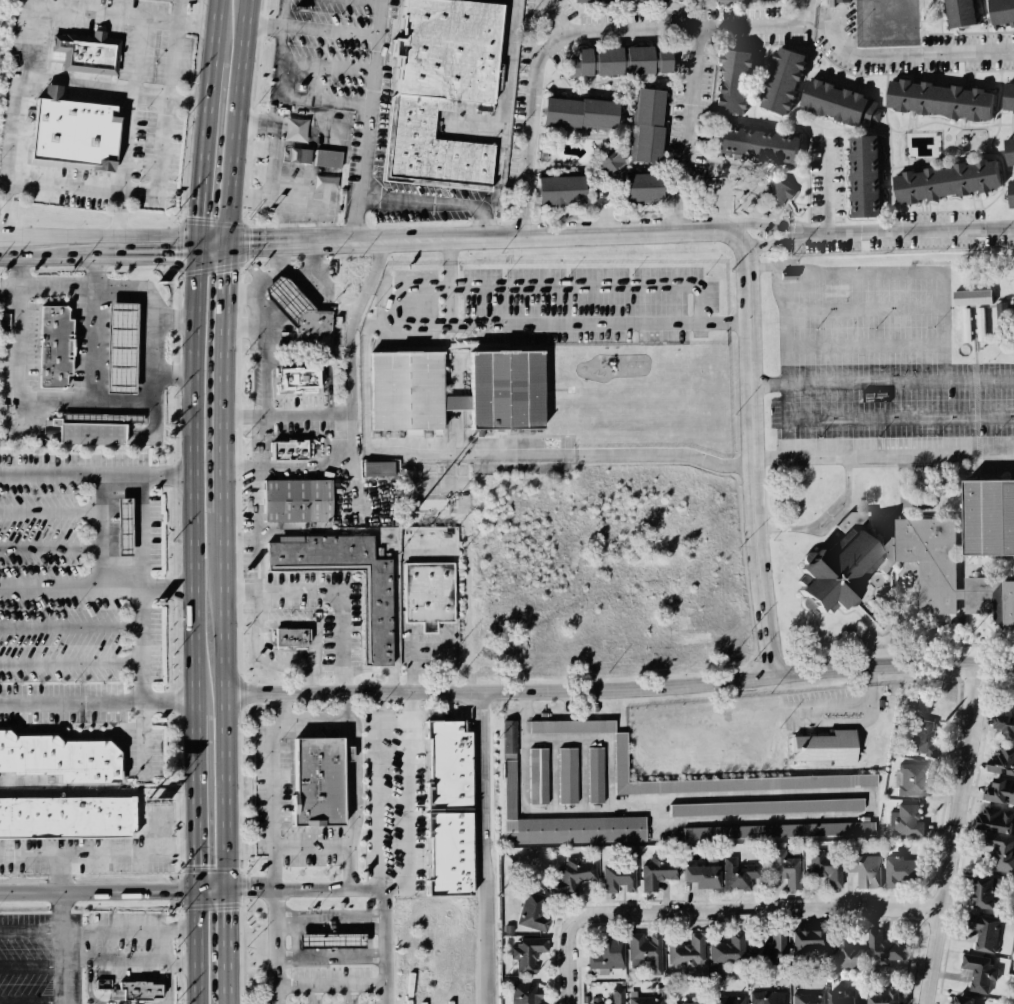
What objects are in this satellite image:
building: (607, 0)
building: (732, 0)
building: (843, 1)
building: (1000, 10)
building: (957, 12)
road: (122, 13)
road: (684, 17)
building: (886, 20)
road: (262, 22)
parking lot: (128, 35)
building: (90, 52)
road: (902, 54)
road: (505, 60)
building: (615, 60)
building: (729, 80)
building: (778, 80)
building: (437, 89)
road: (113, 91)
road: (274, 92)
building: (935, 97)
road: (530, 100)
building: (1007, 100)
building: (836, 101)
road: (130, 102)
parking lot: (358, 103)
road: (687, 105)
building: (1013, 110)
building: (572, 112)
road: (16, 116)
road: (364, 120)
road: (254, 123)
building: (641, 126)
road: (204, 128)
building: (293, 128)
building: (74, 131)
building: (752, 141)
building: (1008, 149)
building: (312, 156)
building: (605, 159)
road: (498, 166)
parking lot: (119, 168)
building: (861, 175)
building: (942, 180)
road: (159, 181)
building: (322, 181)
road: (825, 184)
building: (635, 185)
building: (555, 187)
road: (269, 189)
building: (1010, 190)
building: (778, 192)
road: (248, 199)
road: (434, 200)
road: (676, 209)
road: (118, 212)
road: (524, 218)
road: (478, 219)
road: (288, 220)
road: (323, 220)
road: (756, 224)
road: (702, 228)
road: (807, 231)
road: (0, 232)
road: (113, 234)
road: (919, 234)
traffic signals: (197, 236)
traffic signals: (225, 244)
road: (210, 251)
road: (155, 258)
traffic signals: (196, 258)
road: (43, 259)
road: (100, 259)
street lamp: (729, 268)
street lamp: (706, 273)
street lamp: (504, 275)
street lamp: (630, 275)
street lamp: (567, 276)
road: (448, 280)
road: (566, 283)
building: (969, 297)
building: (1012, 298)
road: (148, 303)
parking lot: (541, 305)
street lamp: (438, 306)
road: (785, 311)
building: (1002, 311)
road: (172, 319)
building: (5, 321)
road: (571, 323)
building: (964, 324)
building: (979, 324)
building: (310, 325)
street lamp: (933, 327)
street lamp: (873, 328)
road: (89, 329)
street lamp: (816, 329)
flagpole: (460, 333)
flagpole: (453, 334)
flagpole: (447, 336)
building: (53, 345)
building: (116, 346)
gas station: (116, 346)
road: (265, 349)
street lamp: (674, 352)
street lamp: (584, 355)
parking lot: (879, 364)
road: (172, 373)
building: (405, 374)
building: (298, 377)
road: (900, 382)
road: (769, 383)
road: (22, 390)
road: (351, 409)
road: (286, 413)
road: (883, 418)
building: (88, 432)
road: (788, 438)
building: (287, 449)
road: (563, 455)
road: (883, 457)
building: (378, 468)
road: (96, 474)
road: (222, 501)
building: (297, 503)
road: (49, 509)
building: (985, 512)
road: (823, 518)
building: (117, 524)
gas station: (117, 524)
building: (125, 526)
road: (98, 530)
road: (49, 546)
building: (837, 575)
road: (96, 587)
road: (468, 590)
road: (331, 592)
building: (430, 594)
parking lot: (83, 598)
building: (989, 599)
road: (259, 603)
building: (376, 615)
road: (140, 623)
road: (70, 626)
road: (193, 630)
road: (432, 635)
building: (290, 639)
road: (265, 656)
road: (70, 662)
road: (308, 679)
road: (619, 690)
road: (97, 700)
road: (347, 704)
road: (275, 705)
road: (432, 715)
building: (1003, 722)
building: (569, 725)
building: (920, 735)
road: (597, 737)
building: (823, 746)
building: (58, 757)
building: (997, 759)
road: (480, 765)
building: (506, 768)
road: (550, 772)
road: (580, 772)
building: (594, 774)
building: (906, 774)
building: (537, 775)
building: (566, 775)
building: (726, 779)
building: (318, 783)
road: (376, 792)
building: (995, 792)
road: (773, 795)
road: (407, 801)
building: (764, 806)
road: (529, 807)
building: (441, 808)
building: (64, 814)
road: (161, 814)
building: (994, 817)
road: (750, 820)
building: (907, 820)
building: (776, 829)
road: (959, 834)
road: (351, 840)
road: (311, 847)
building: (990, 847)
road: (97, 853)
road: (272, 860)
building: (899, 865)
building: (826, 870)
building: (655, 871)
building: (864, 871)
building: (616, 873)
building: (782, 873)
building: (736, 874)
building: (569, 875)
building: (695, 875)
traffic signals: (195, 887)
traffic signals: (224, 887)
road: (112, 889)
road: (287, 889)
building: (980, 891)
road: (780, 908)
building: (528, 911)
road: (328, 921)
road: (486, 921)
road: (65, 929)
building: (797, 929)
road: (130, 930)
building: (981, 930)
road: (33, 931)
building: (839, 938)
building: (325, 939)
gas station: (325, 939)
road: (576, 945)
building: (882, 947)
building: (725, 949)
building: (603, 950)
building: (769, 950)
building: (685, 951)
building: (640, 952)
building: (525, 954)
road: (329, 955)
road: (130, 962)
road: (33, 964)
road: (168, 966)
building: (981, 975)
road: (329, 986)
road: (89, 990)
building: (133, 990)
building: (838, 992)
building: (523, 993)
road: (315, 995)
road: (350, 995)
building: (765, 995)
building: (883, 995)
building: (606, 996)
building: (803, 996)
building: (956, 998)
building: (642, 999)
building: (682, 999)
building: (725, 999)
road: (33, 1001)

